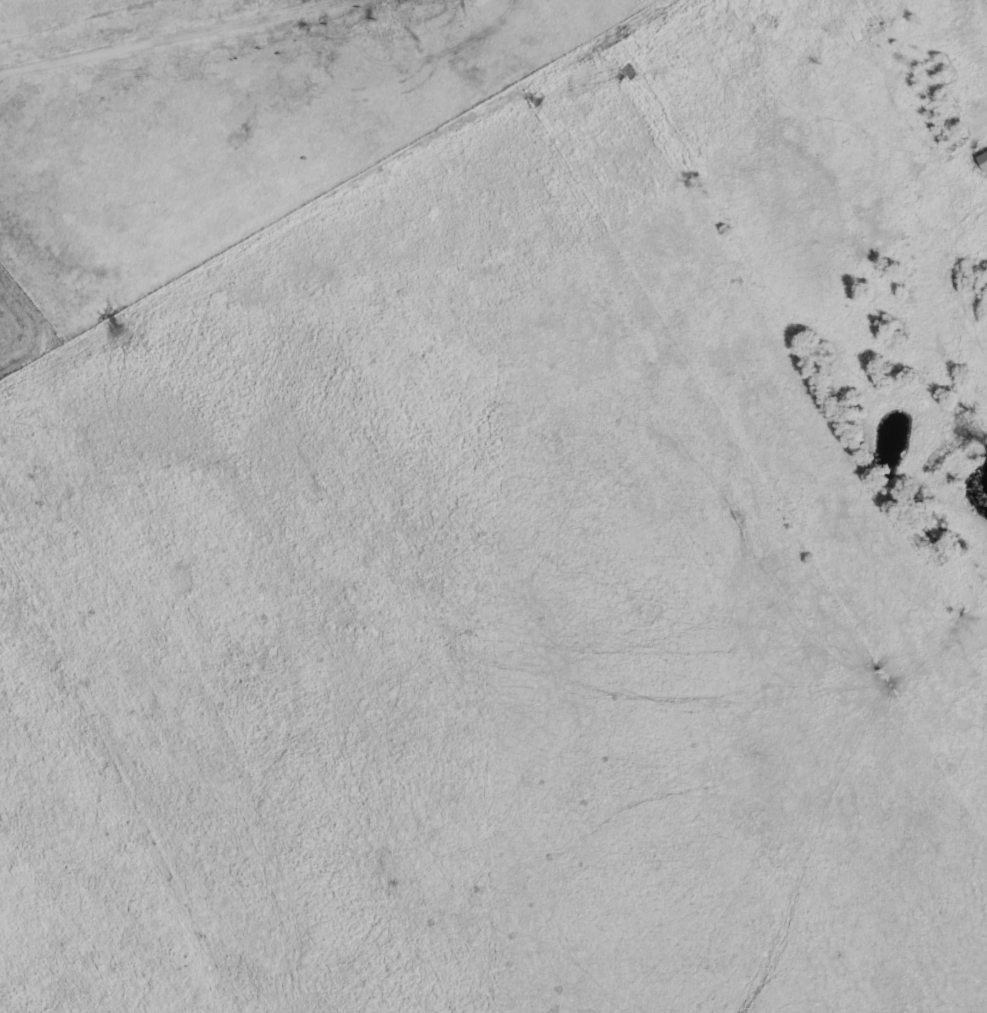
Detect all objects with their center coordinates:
road: (175, 36)
building: (983, 160)

